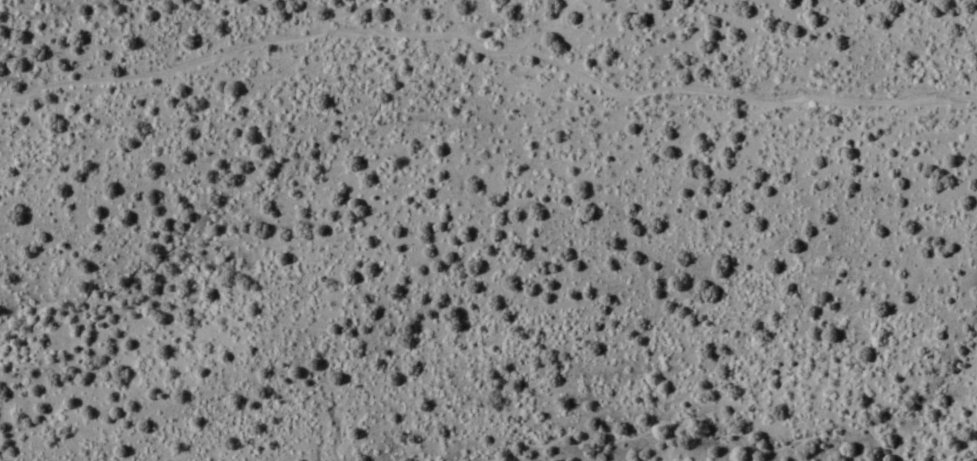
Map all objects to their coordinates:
road: (606, 140)

